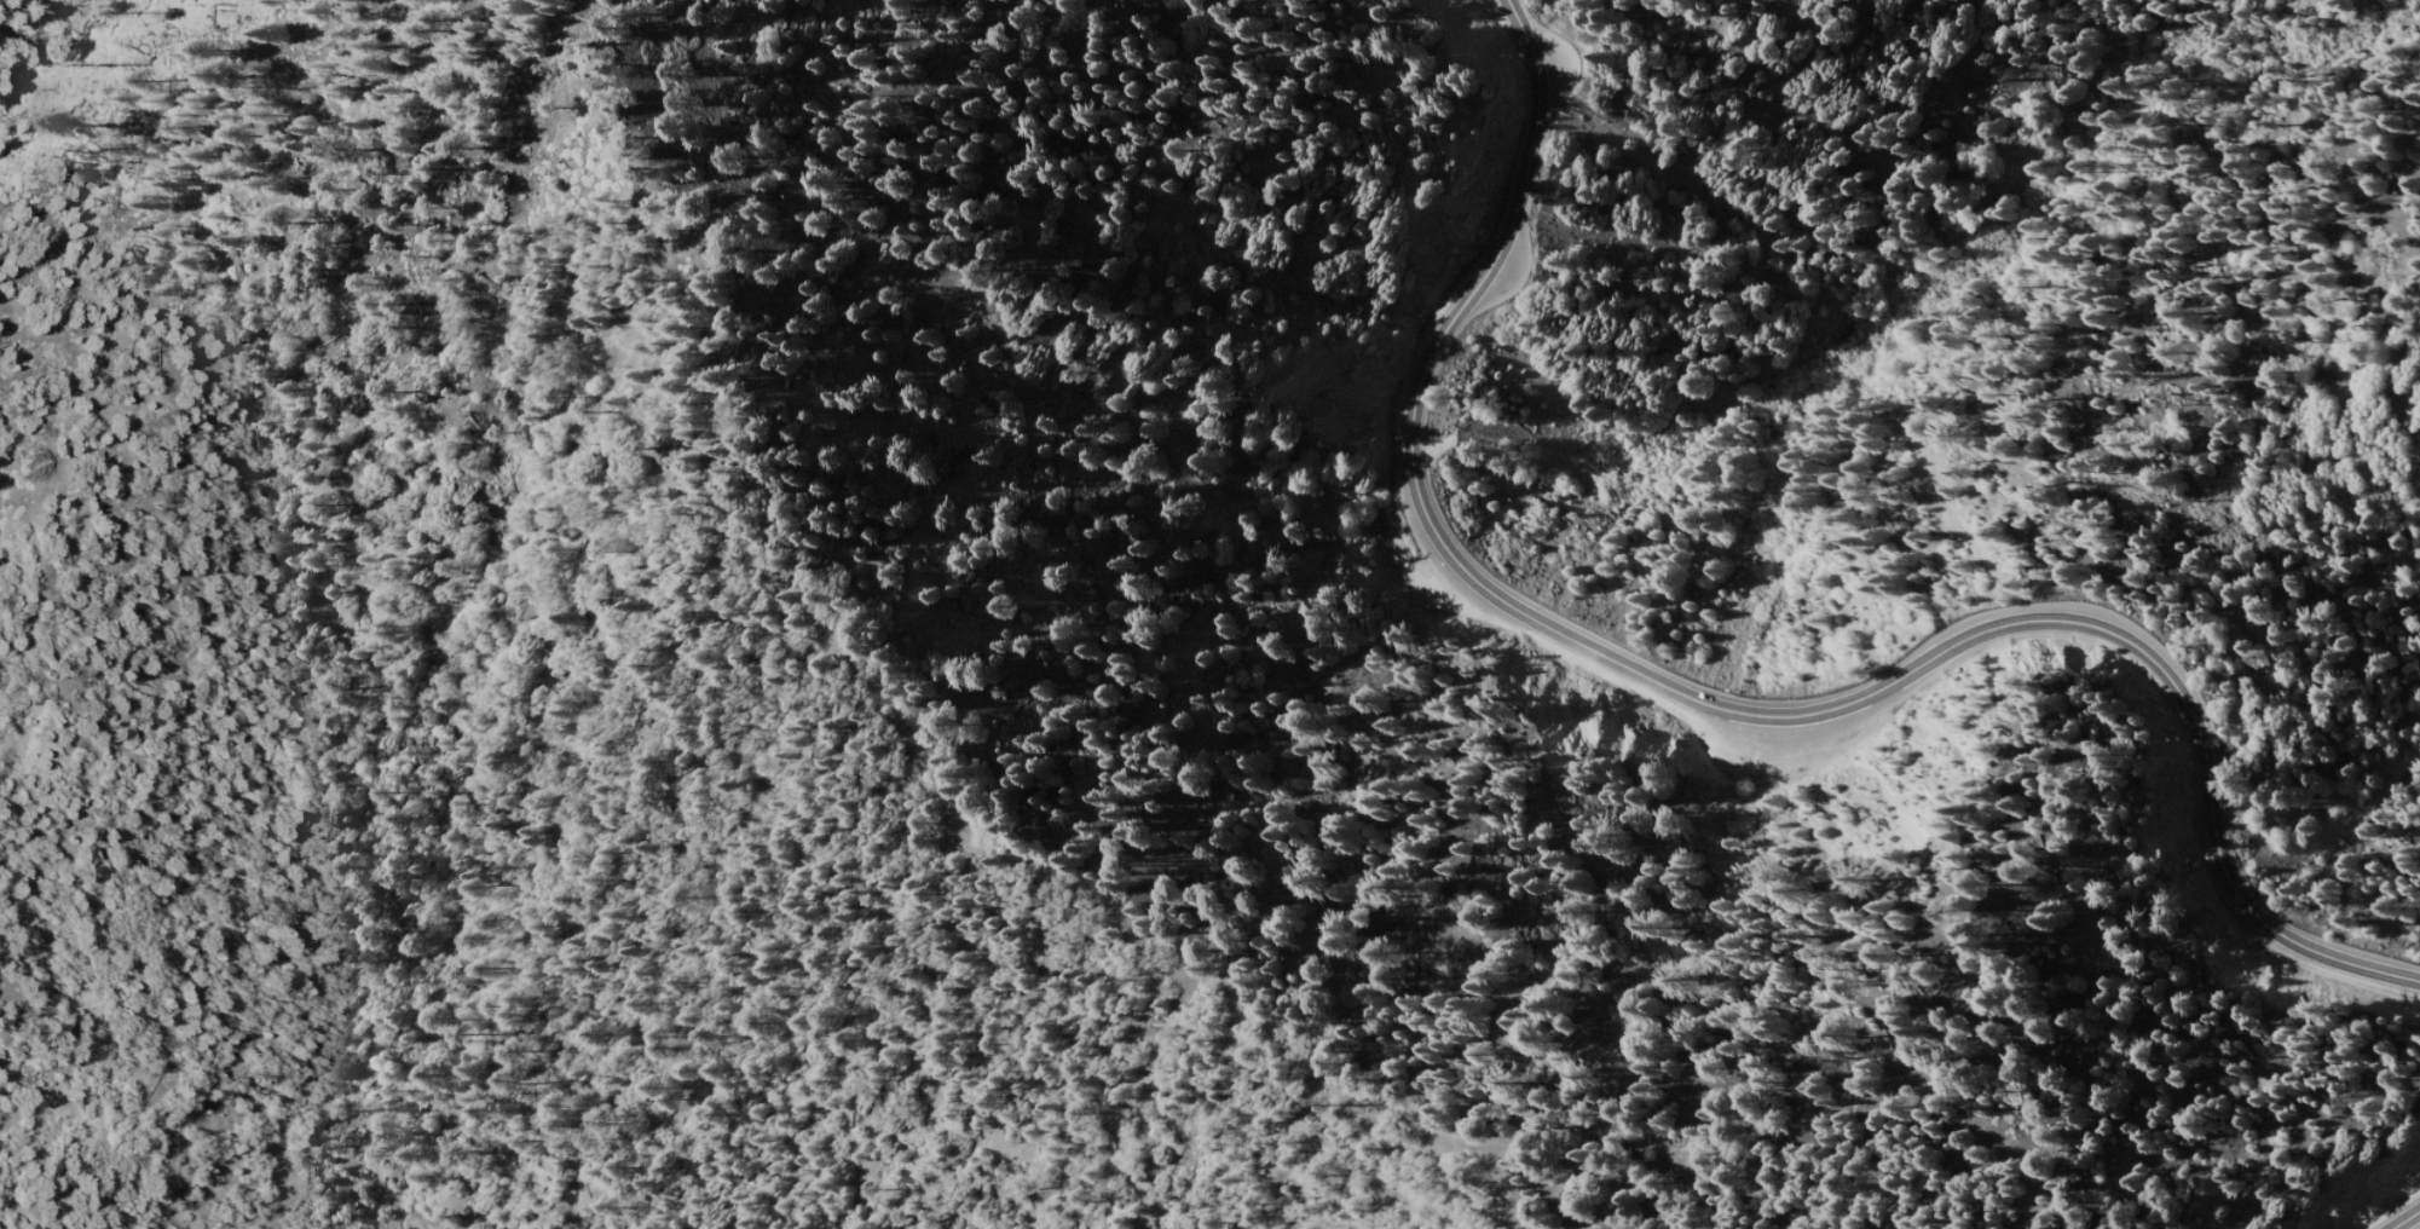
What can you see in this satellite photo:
road: (1513, 19)
road: (1532, 102)
road: (1509, 198)
road: (1503, 608)
road: (2187, 750)
road: (2403, 1217)

